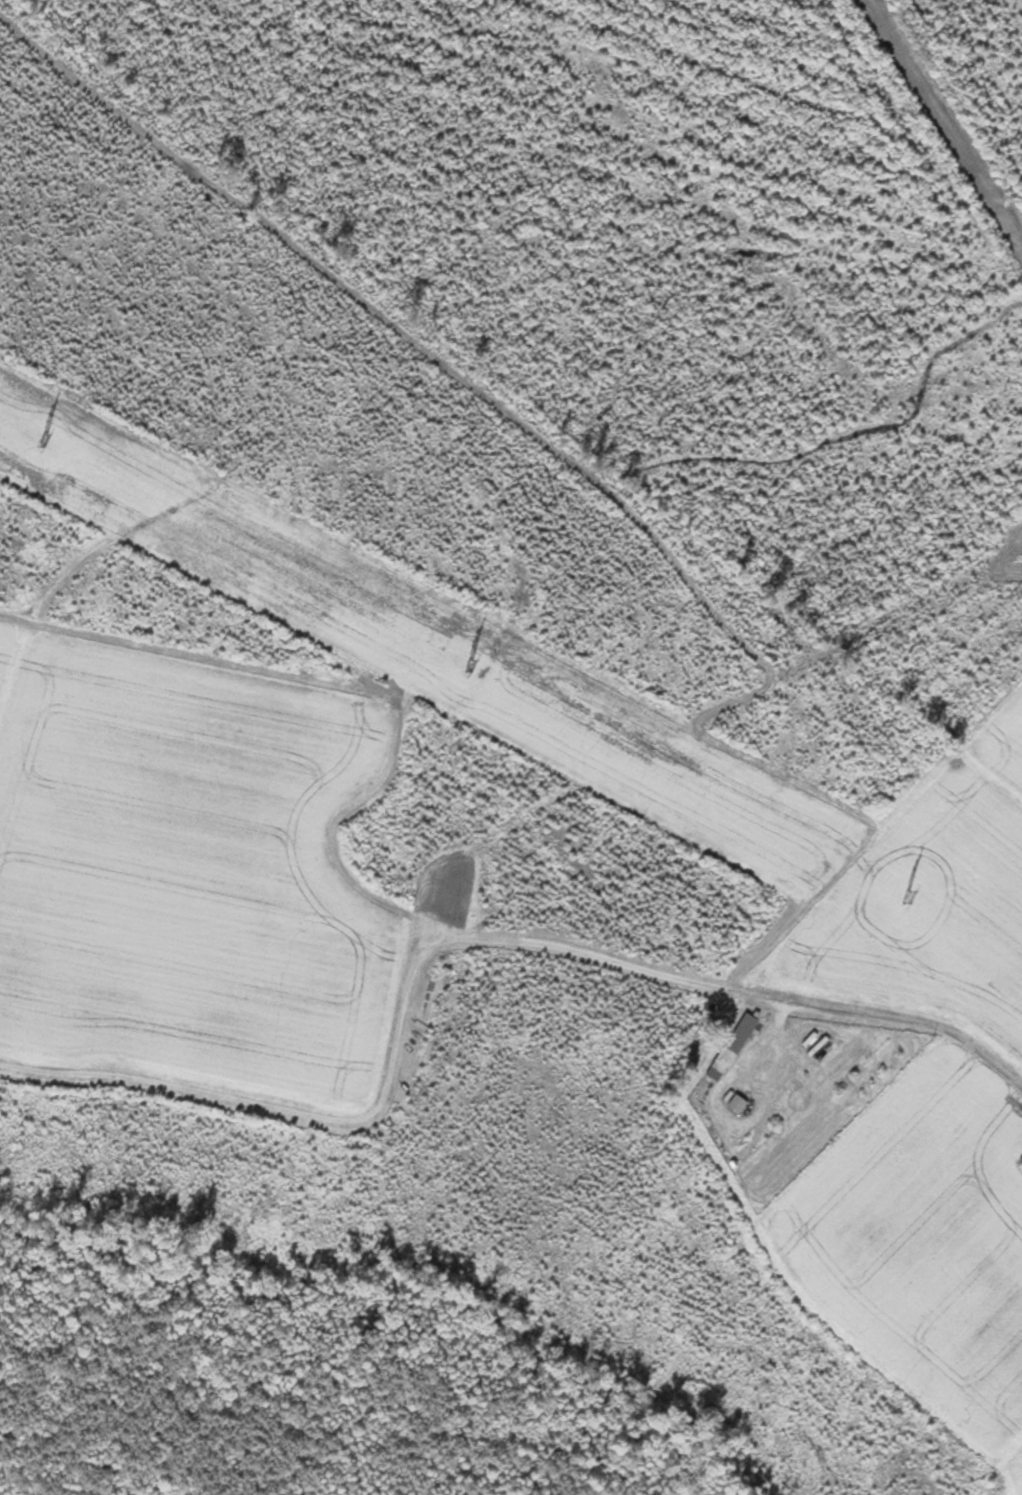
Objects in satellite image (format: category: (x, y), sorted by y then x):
power tower: (45, 440)
power tower: (470, 665)
power tower: (909, 895)
road: (909, 1022)
building: (738, 1041)
building: (737, 1101)

